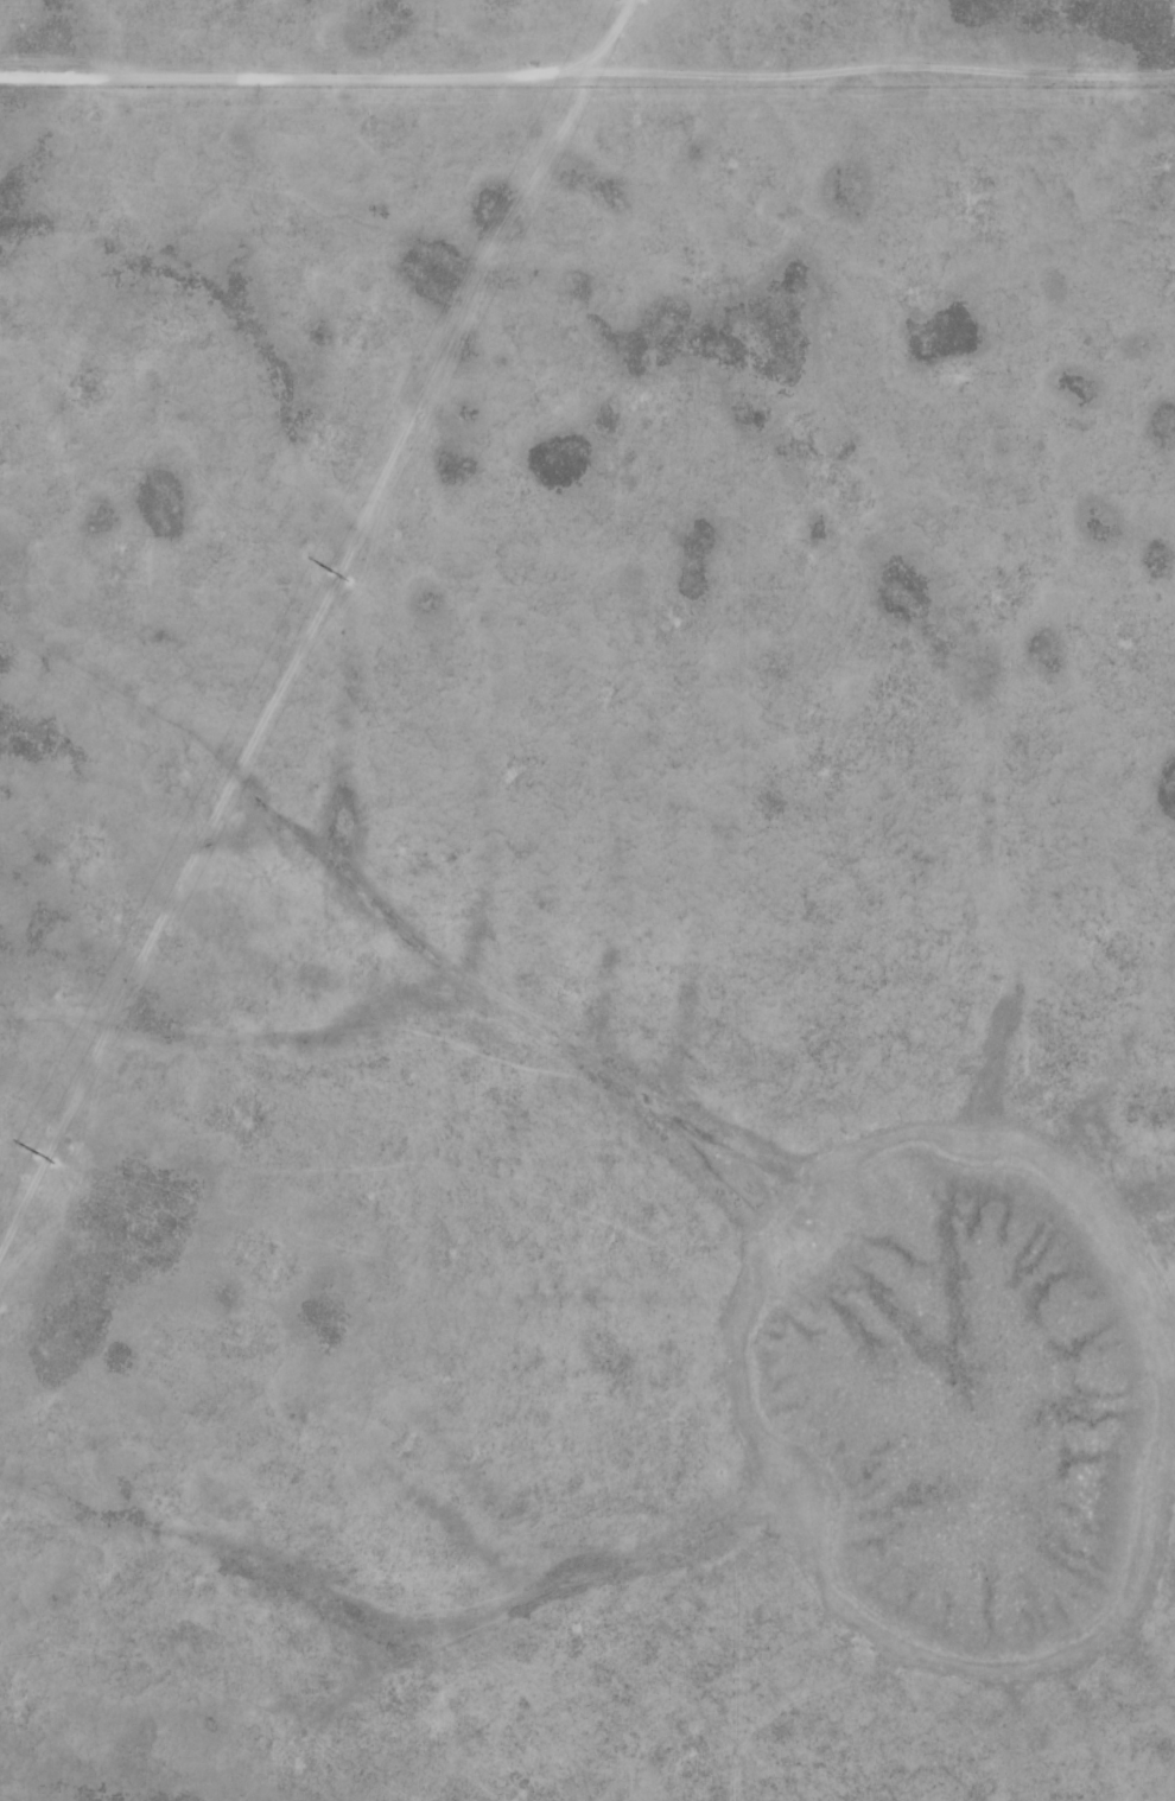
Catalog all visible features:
road: (586, 50)
power tower: (344, 575)
power tower: (51, 1157)

